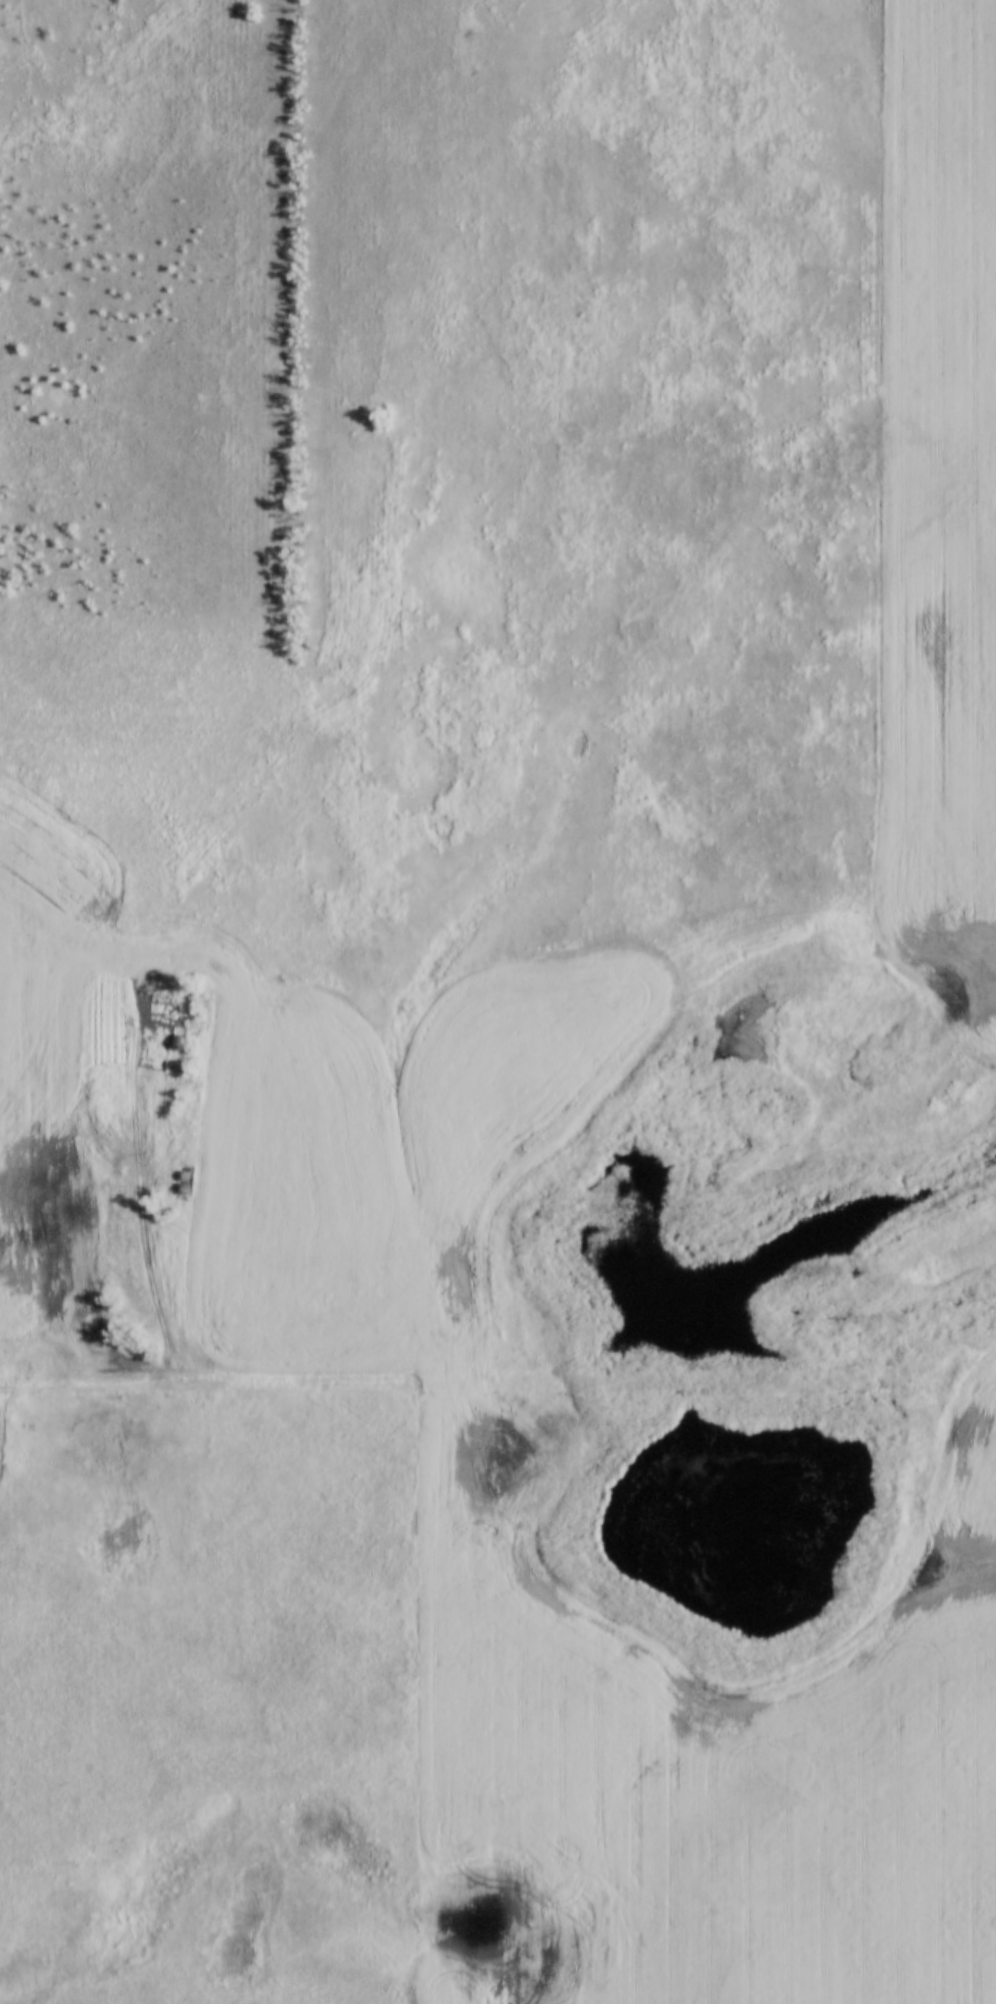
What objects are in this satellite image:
road: (403, 1383)

